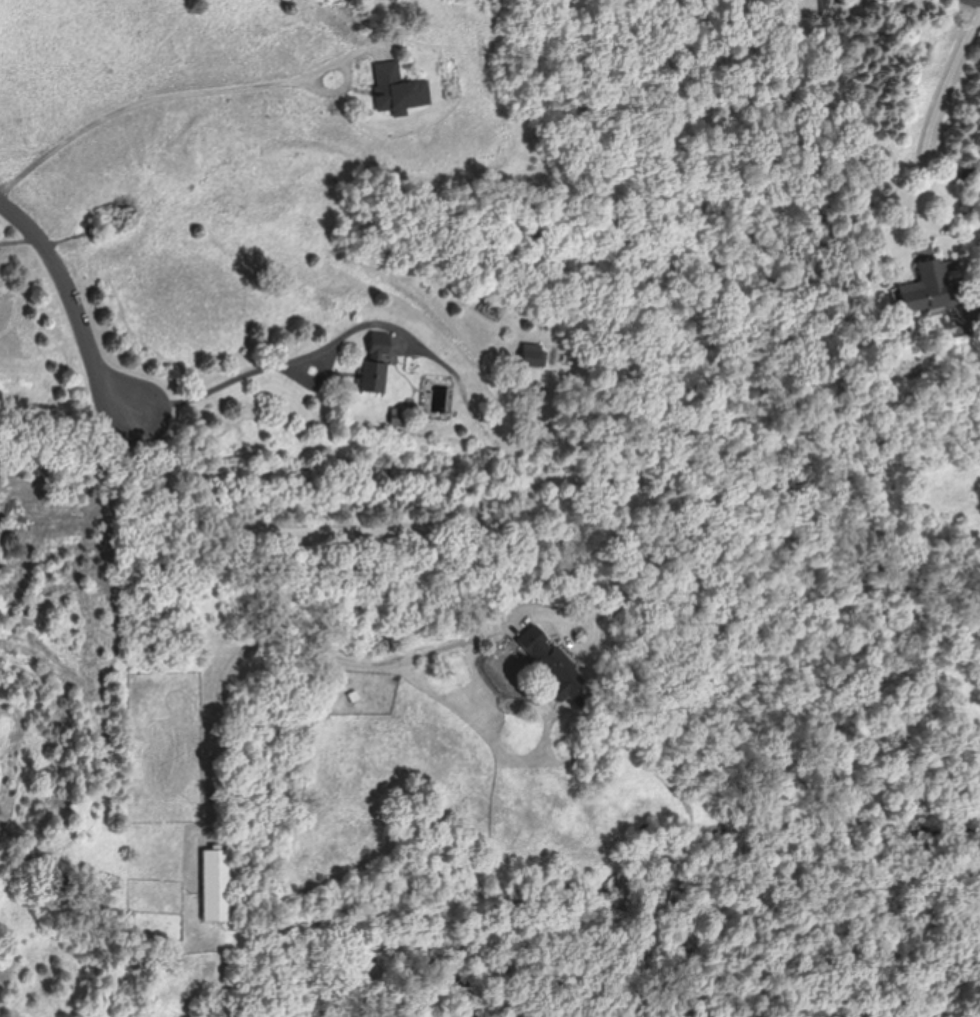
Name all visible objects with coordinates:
road: (332, 66)
building: (398, 90)
road: (139, 103)
road: (935, 126)
building: (925, 290)
road: (74, 305)
road: (319, 352)
building: (532, 355)
building: (376, 364)
road: (218, 387)
road: (408, 523)
road: (669, 557)
road: (248, 608)
road: (388, 665)
building: (549, 668)
building: (217, 884)

